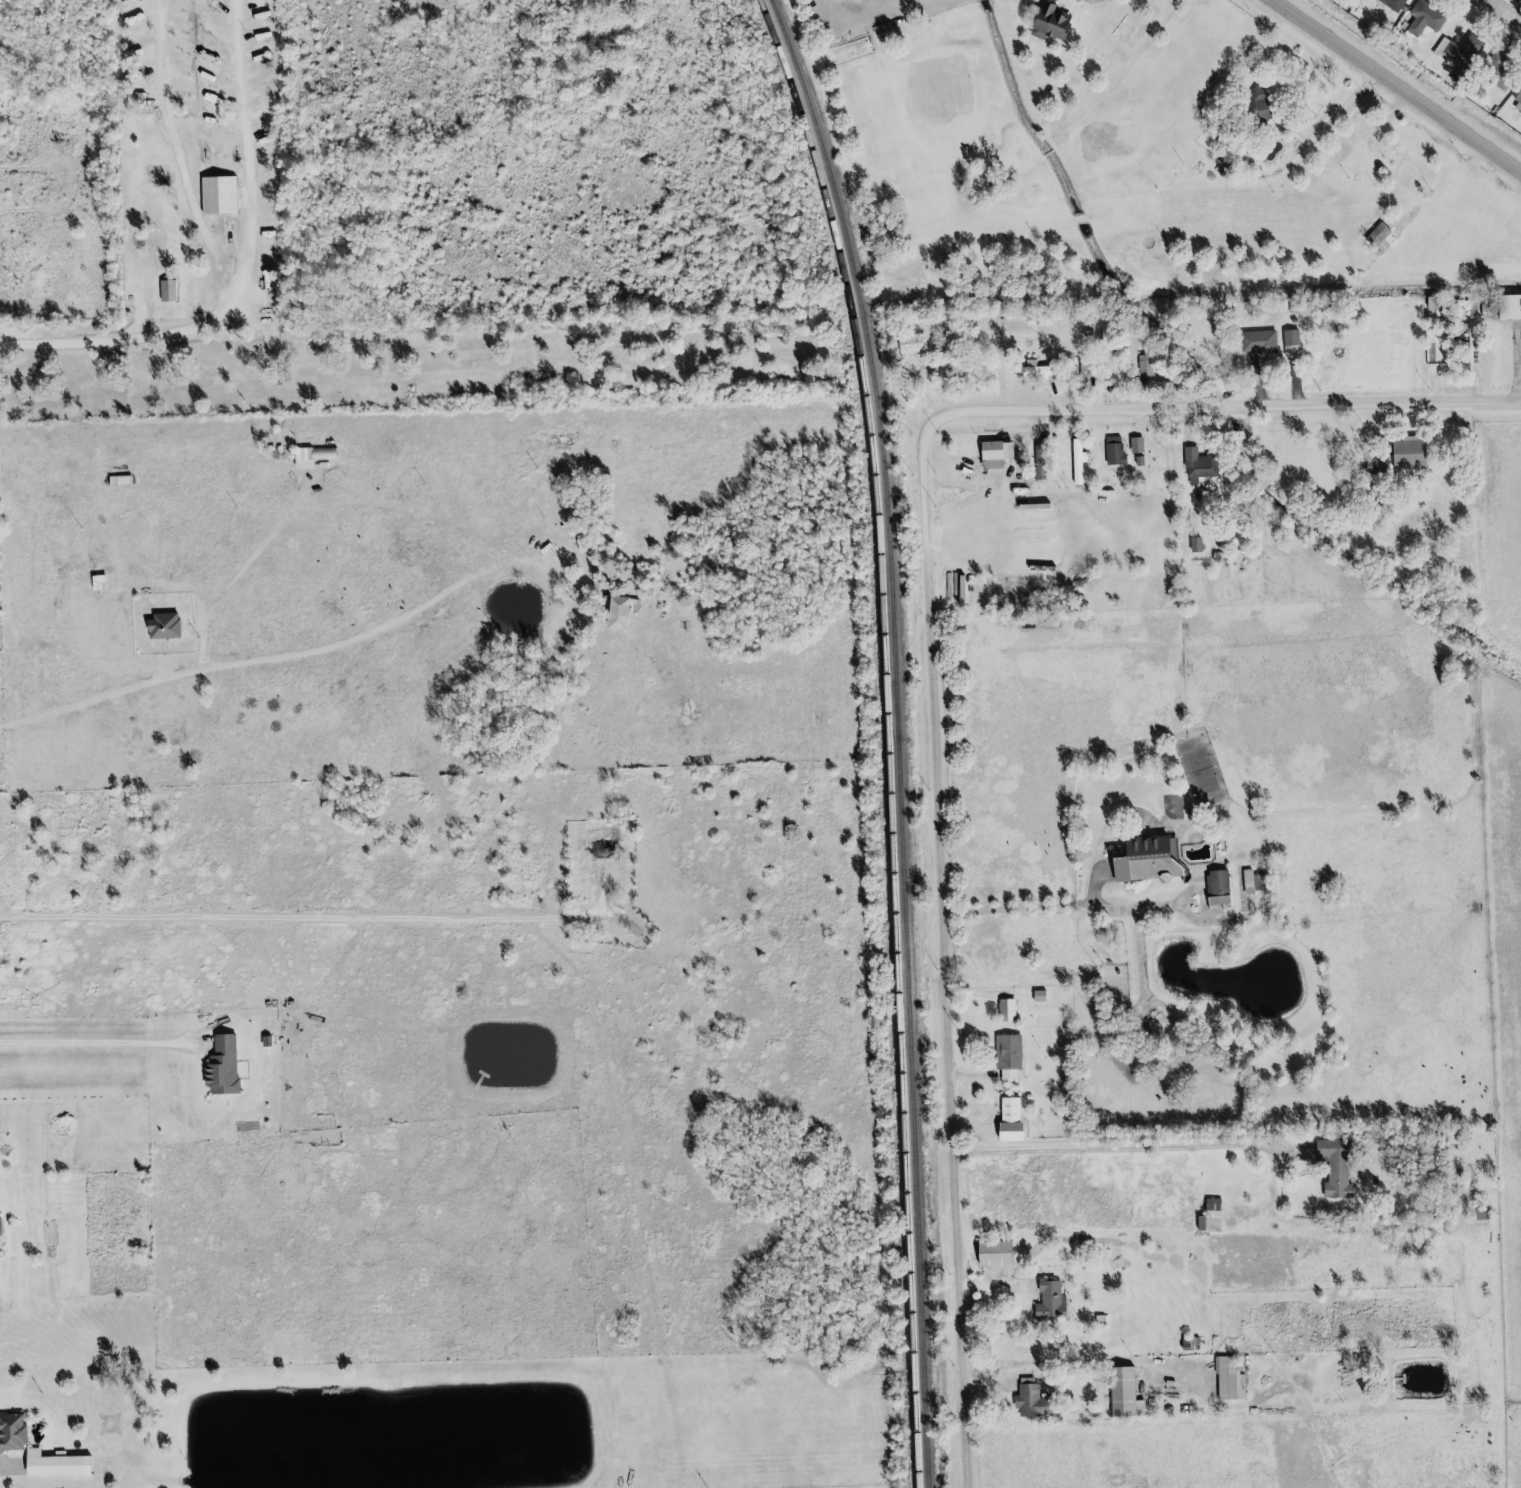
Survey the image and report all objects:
building: (1386, 4)
road: (1501, 5)
road: (1501, 13)
building: (1418, 17)
building: (1045, 21)
road: (1462, 21)
road: (870, 24)
road: (1505, 39)
building: (1454, 55)
building: (1098, 56)
building: (1495, 72)
road: (1395, 88)
building: (1516, 95)
building: (1257, 109)
road: (1339, 110)
building: (1286, 121)
building: (154, 127)
building: (155, 173)
building: (213, 193)
park: (1130, 262)
road: (249, 283)
building: (163, 291)
building: (1508, 306)
building: (1253, 341)
building: (1287, 344)
building: (910, 345)
road: (1517, 358)
road: (1469, 363)
building: (1105, 364)
building: (1150, 368)
building: (946, 371)
building: (1034, 372)
road: (1252, 382)
road: (1290, 383)
road: (1375, 425)
road: (1179, 426)
building: (1109, 452)
building: (1406, 452)
building: (987, 454)
building: (1043, 461)
building: (1077, 463)
building: (1194, 463)
building: (1371, 465)
building: (119, 482)
building: (1196, 547)
building: (1155, 552)
building: (632, 606)
road: (938, 661)
railway: (899, 736)
park: (1194, 771)
park: (1167, 808)
building: (1143, 860)
building: (1212, 881)
building: (1243, 882)
building: (1248, 884)
road: (1080, 902)
road: (330, 917)
road: (1135, 960)
road: (989, 994)
building: (1033, 996)
building: (1001, 1004)
building: (1007, 1010)
road: (990, 1015)
road: (102, 1043)
building: (1002, 1057)
building: (220, 1066)
road: (975, 1076)
building: (1005, 1109)
road: (977, 1126)
building: (1007, 1128)
road: (1129, 1150)
building: (1330, 1165)
road: (1263, 1198)
building: (1475, 1214)
building: (1205, 1217)
building: (0, 1228)
building: (989, 1253)
road: (999, 1288)
building: (1045, 1299)
building: (1184, 1344)
road: (1087, 1364)
building: (1224, 1379)
road: (1148, 1380)
building: (1120, 1393)
building: (1021, 1398)
building: (12, 1434)
building: (51, 1465)
road: (6, 1468)

